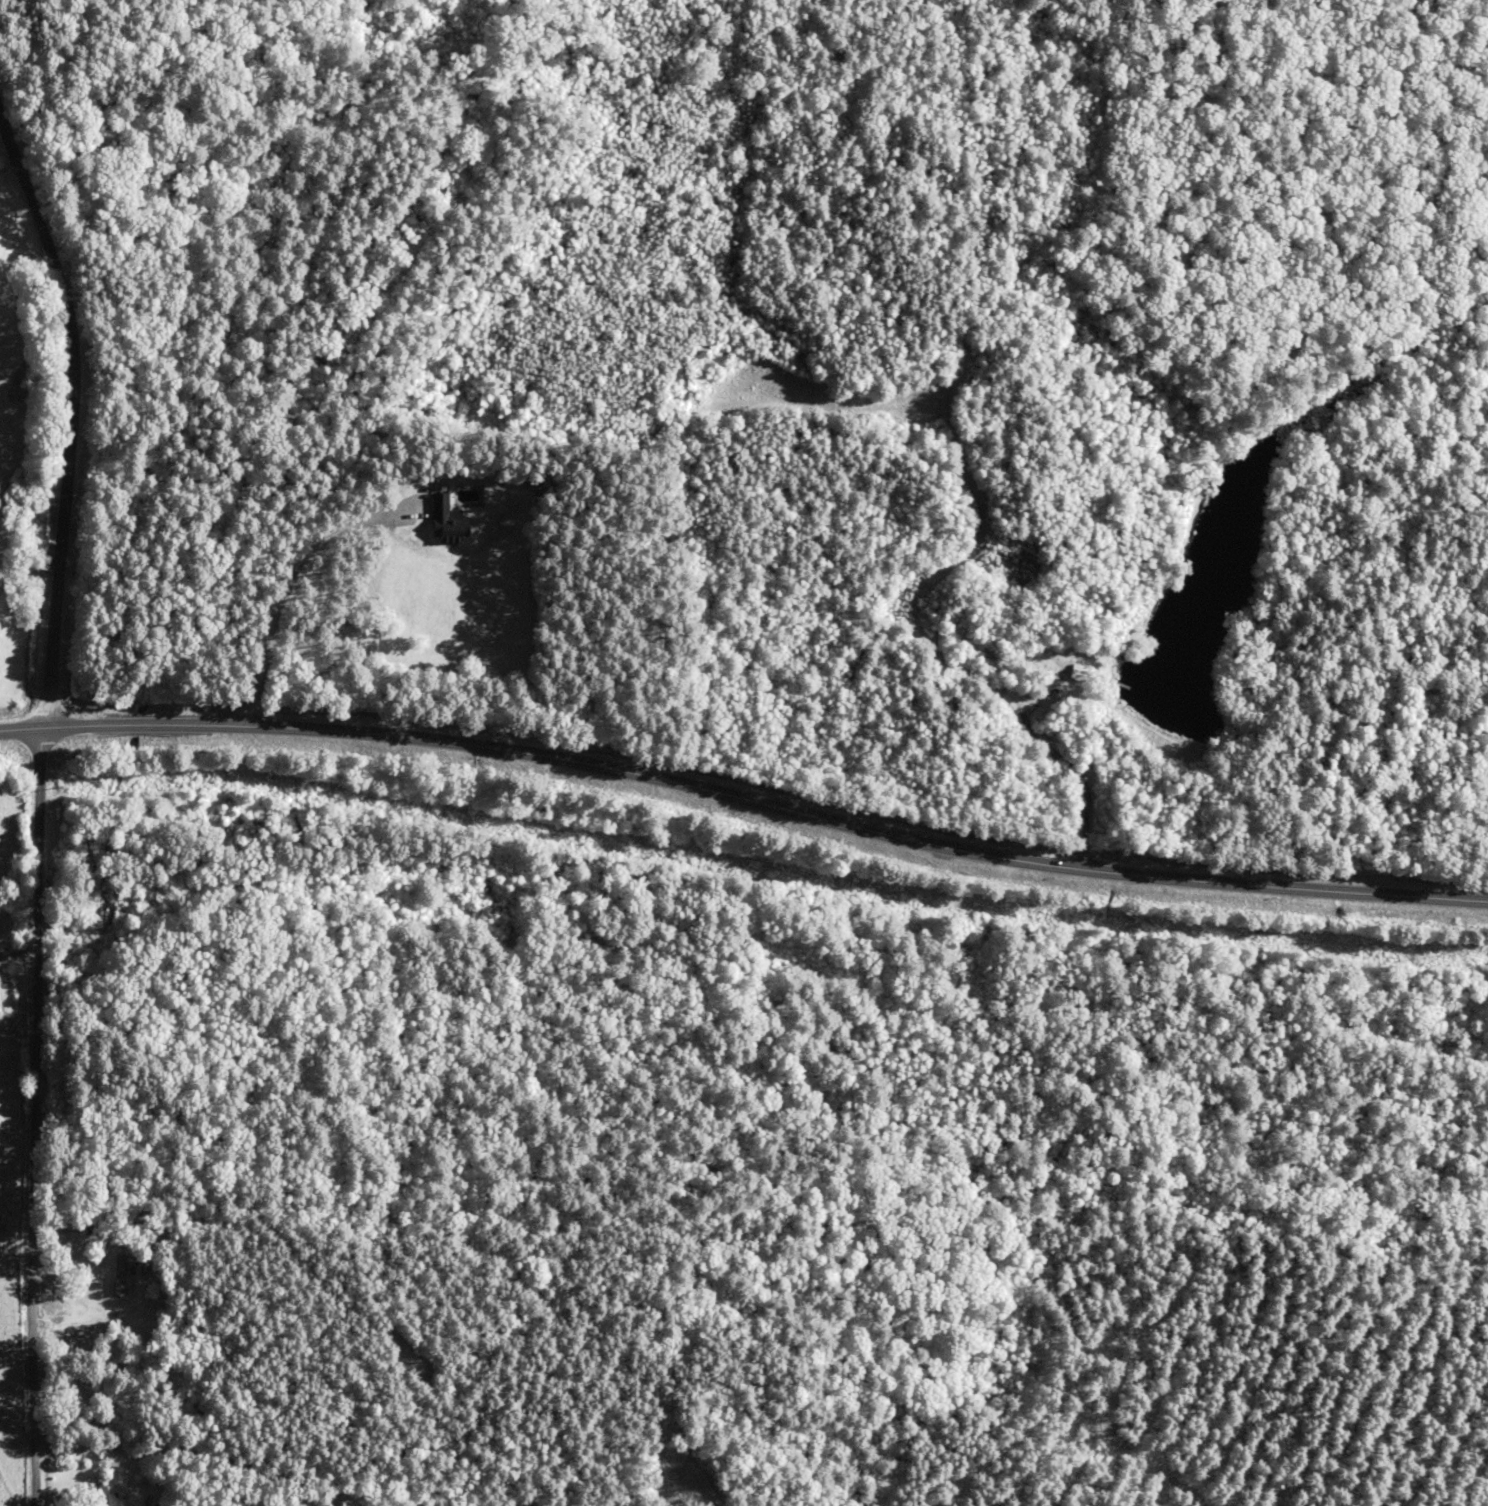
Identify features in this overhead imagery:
building: (541, 479)
building: (451, 520)
road: (743, 784)
road: (35, 788)
building: (117, 1275)
building: (94, 1421)
building: (105, 1496)

